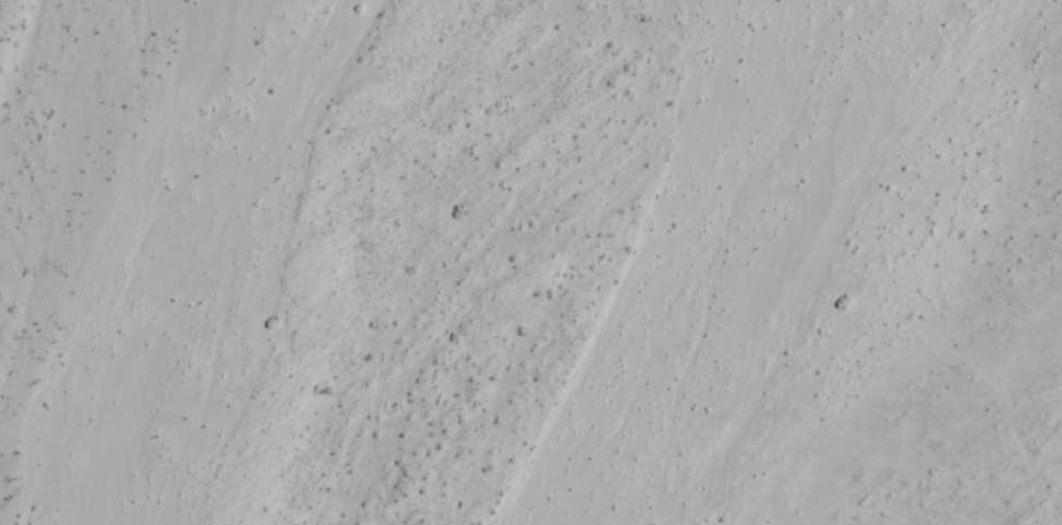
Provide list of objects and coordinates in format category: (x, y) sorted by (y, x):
river: (877, 319)

